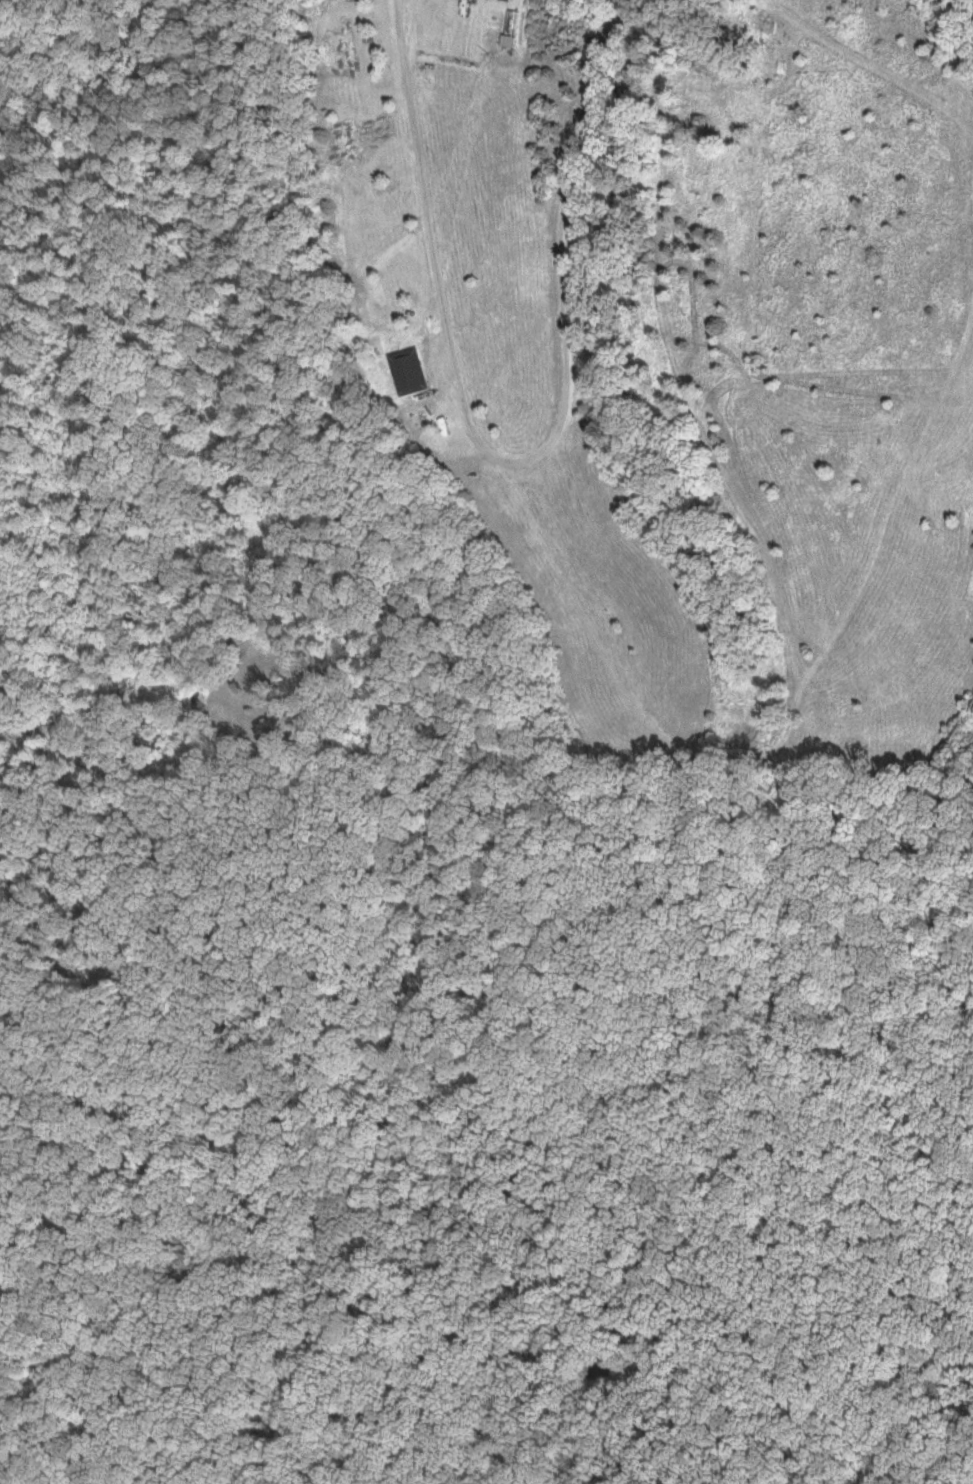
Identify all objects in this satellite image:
building: (504, 28)

